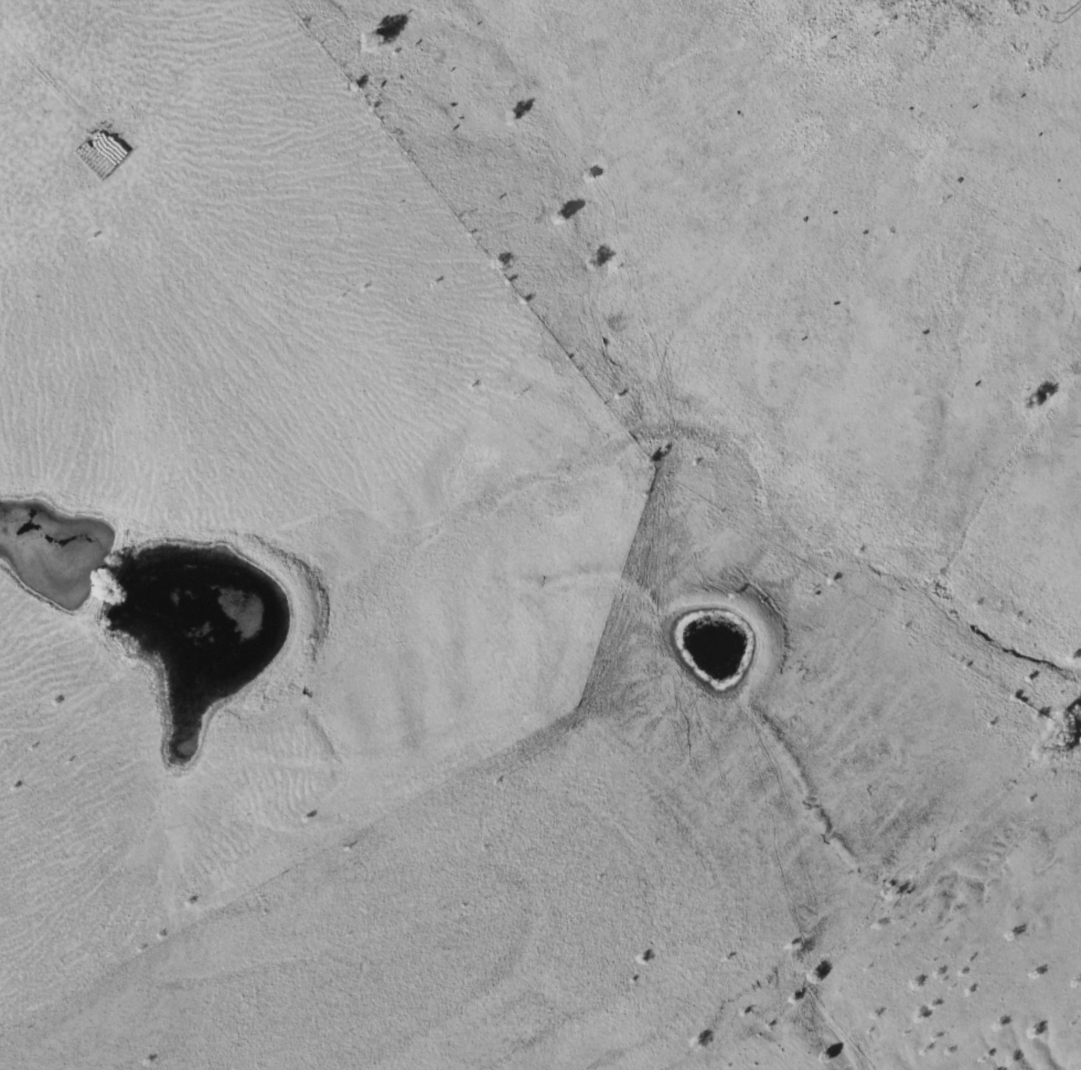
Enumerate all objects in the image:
power tower: (1064, 15)
road: (51, 76)

